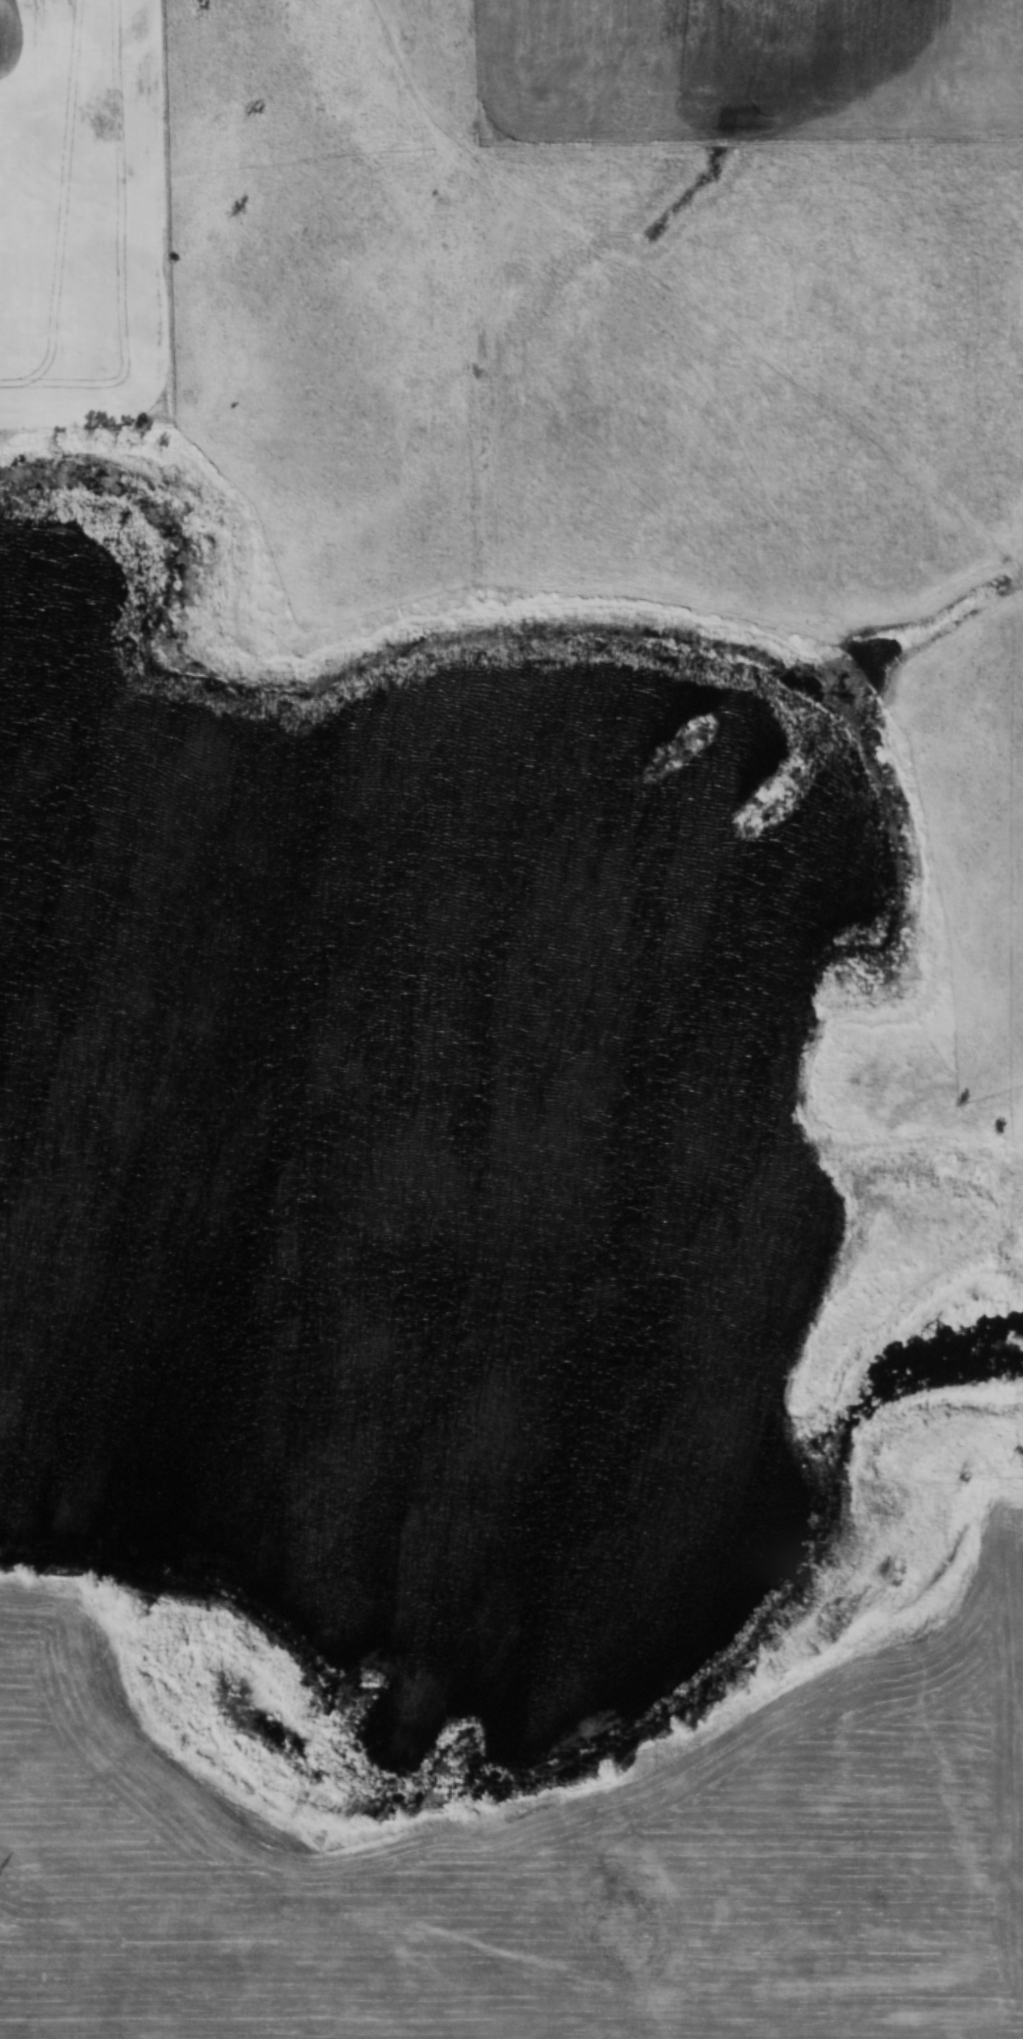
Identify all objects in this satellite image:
building: (932, 1917)

